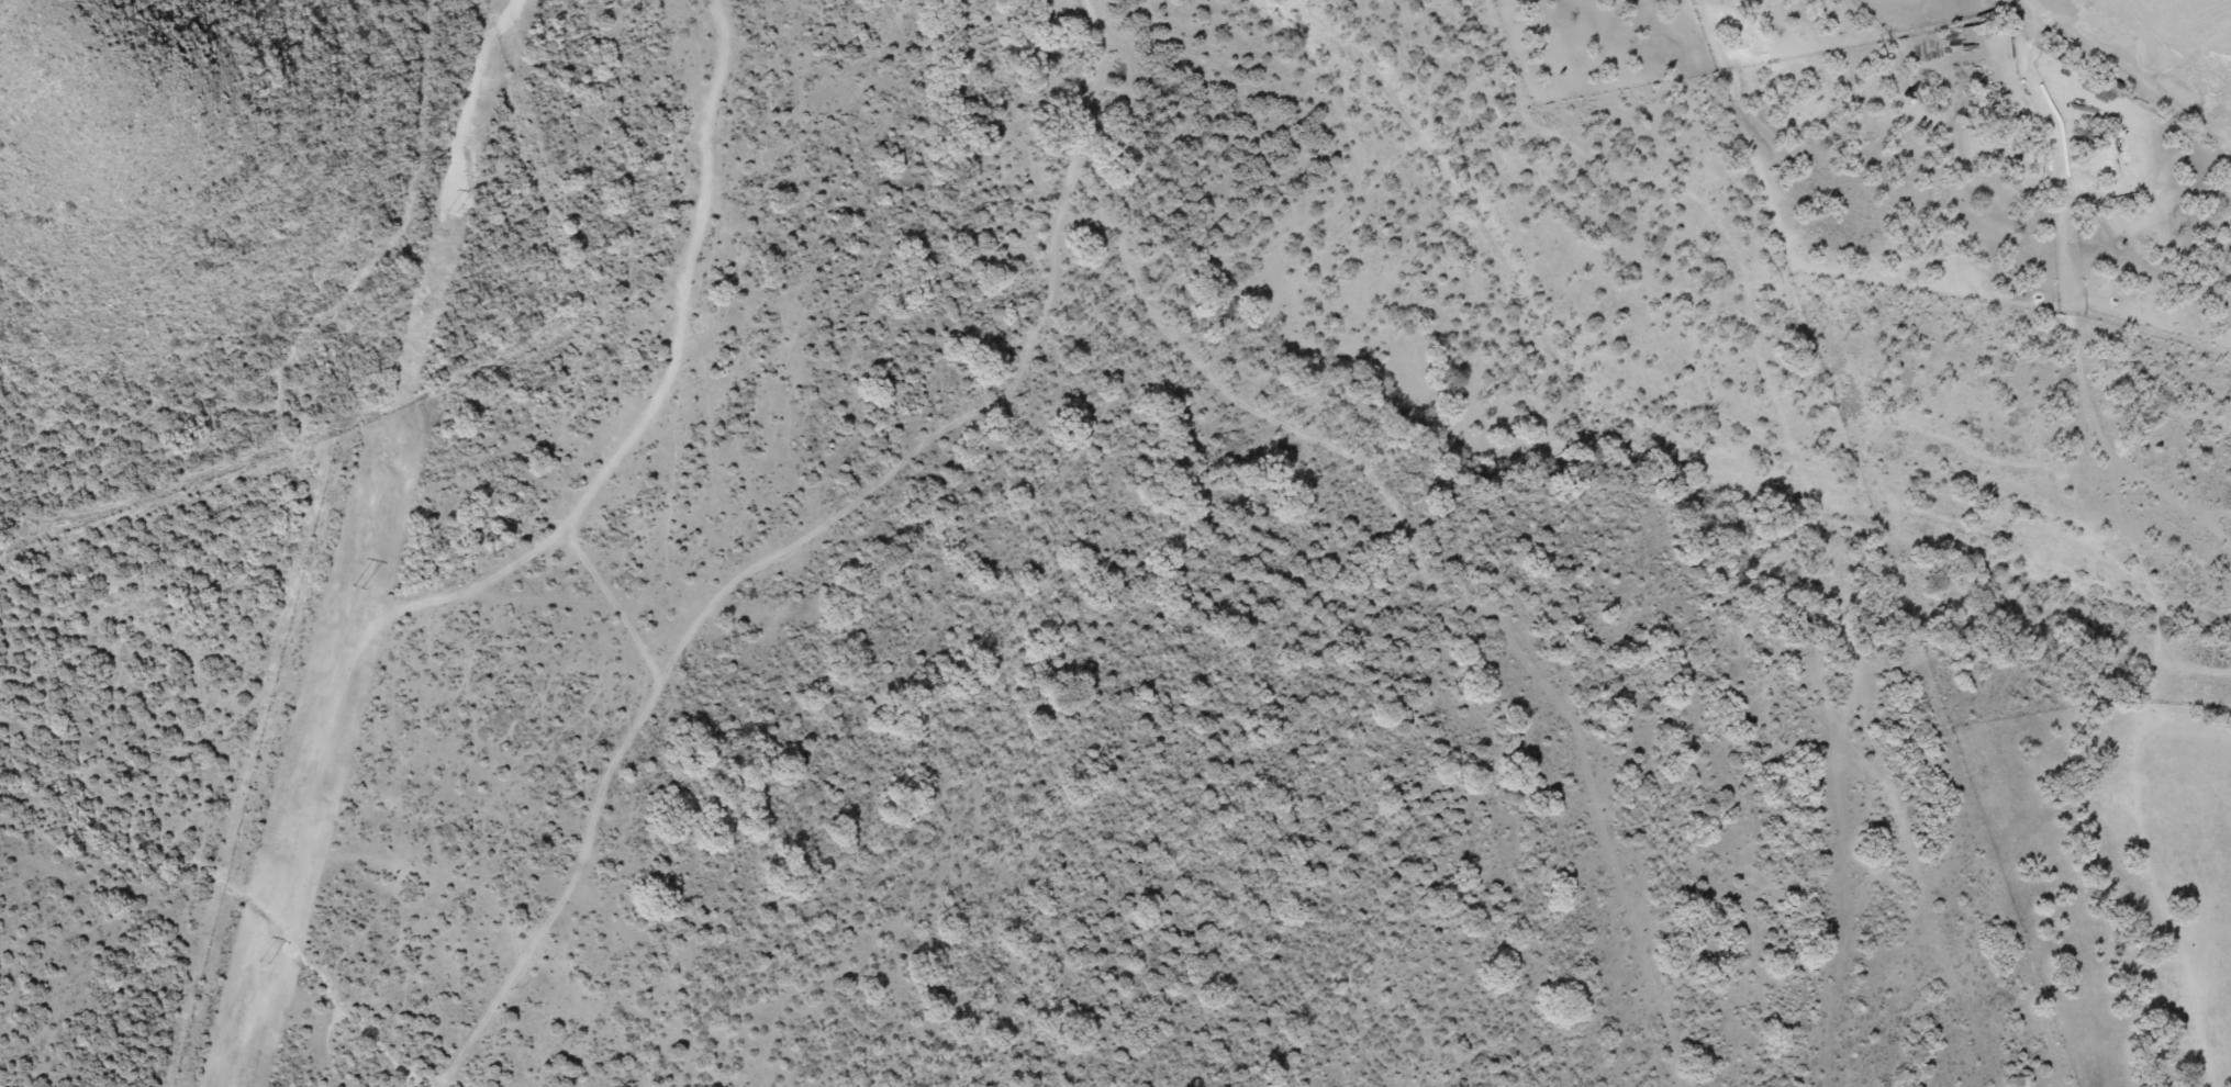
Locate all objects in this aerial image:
power tower: (448, 214)
road: (503, 571)
power tower: (354, 589)
road: (733, 601)
power tower: (261, 963)

